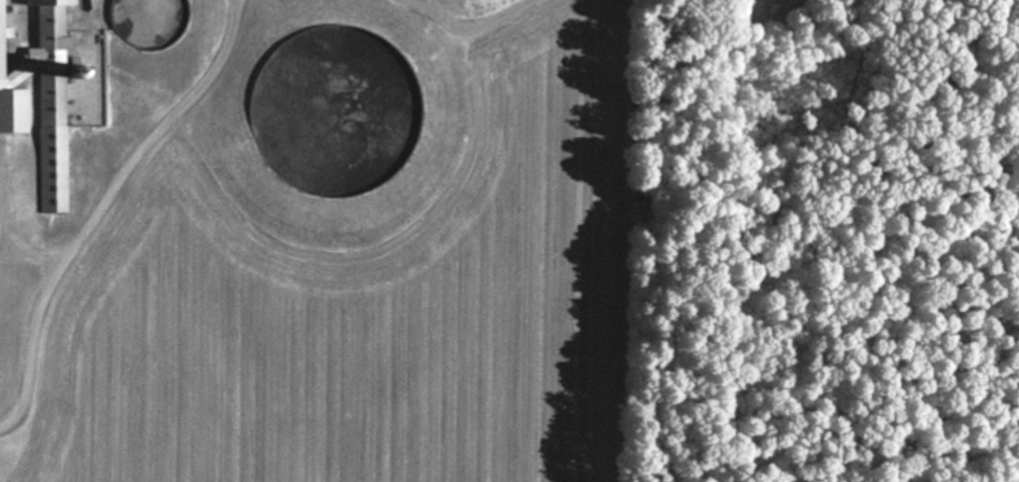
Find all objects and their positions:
road: (15, 9)
building: (52, 100)
road: (137, 151)

